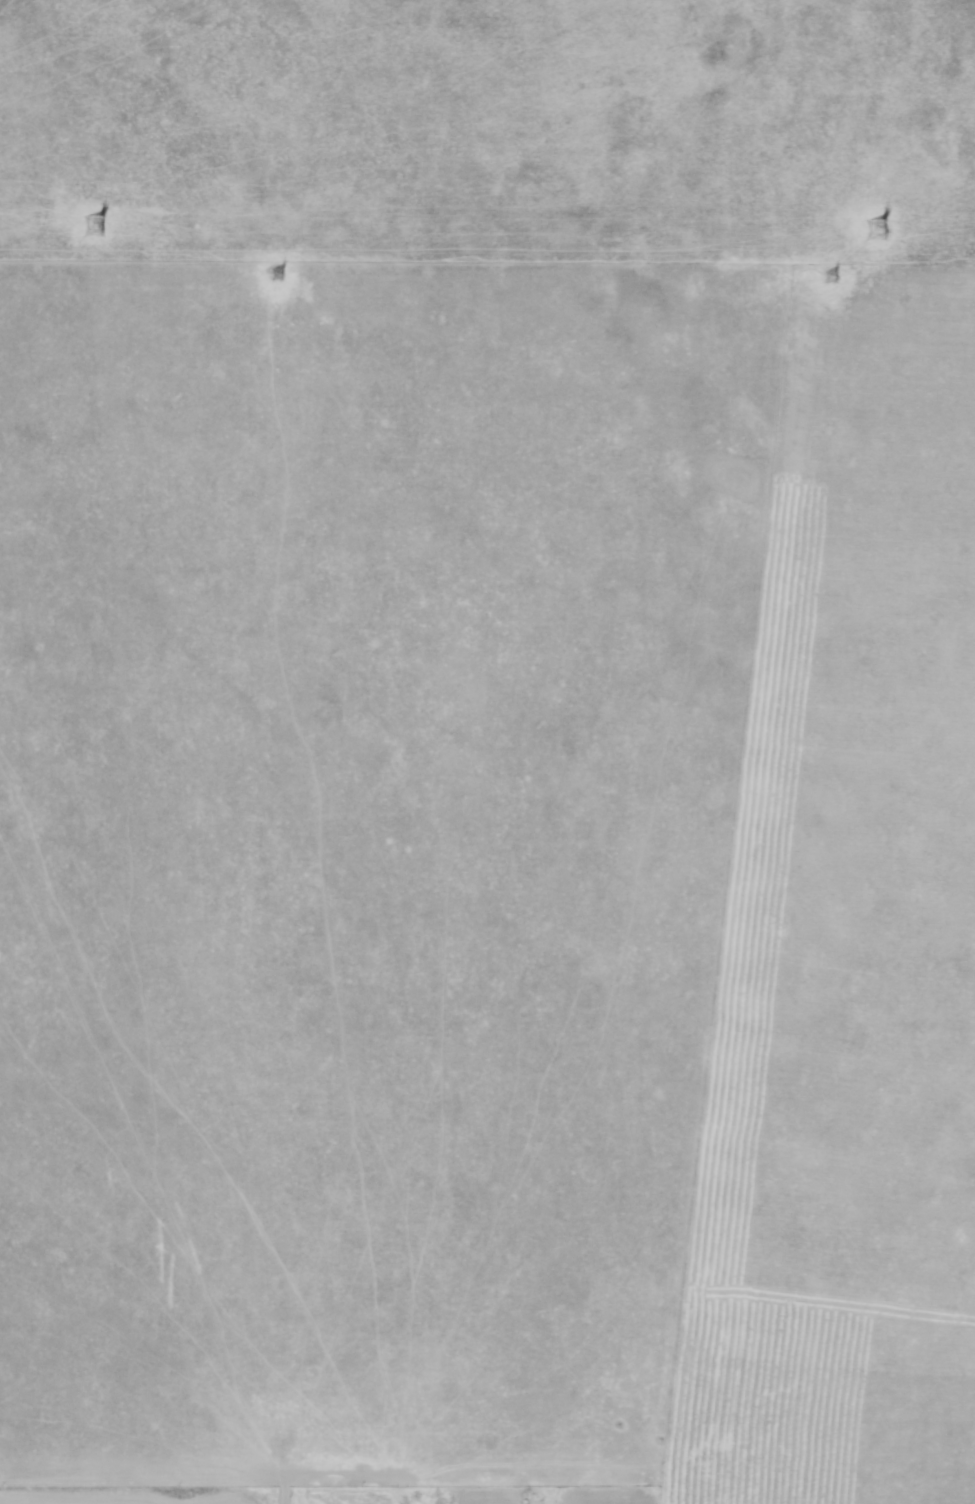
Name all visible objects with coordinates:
solar farm: (489, 132)
power tower: (90, 226)
power tower: (870, 228)
power tower: (276, 273)
power tower: (834, 275)

